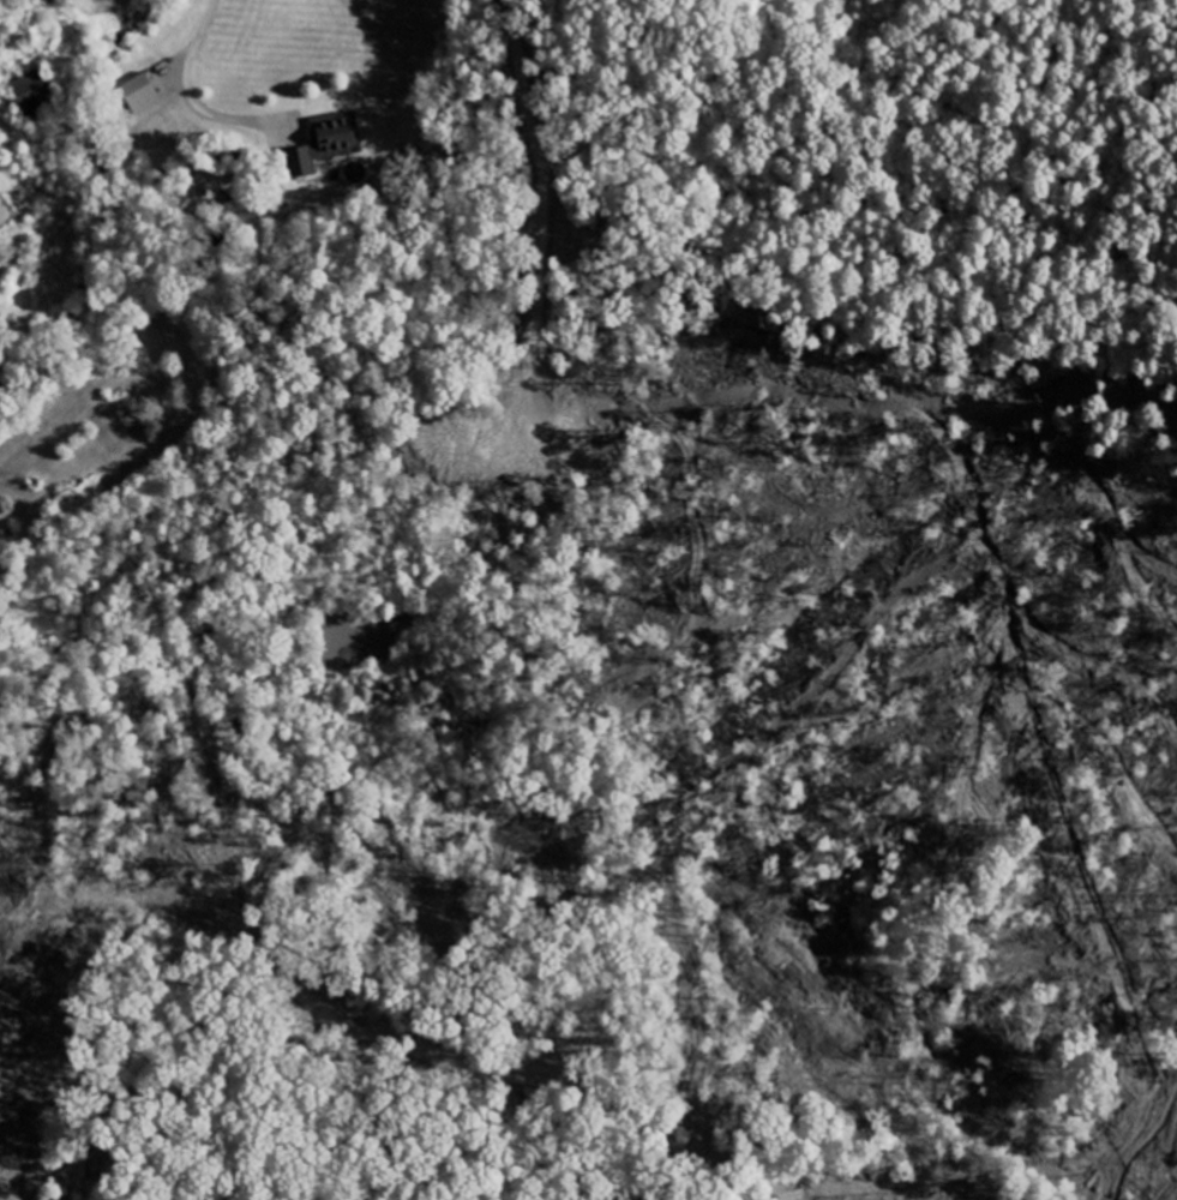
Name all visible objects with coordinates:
building: (142, 96)
building: (328, 144)

